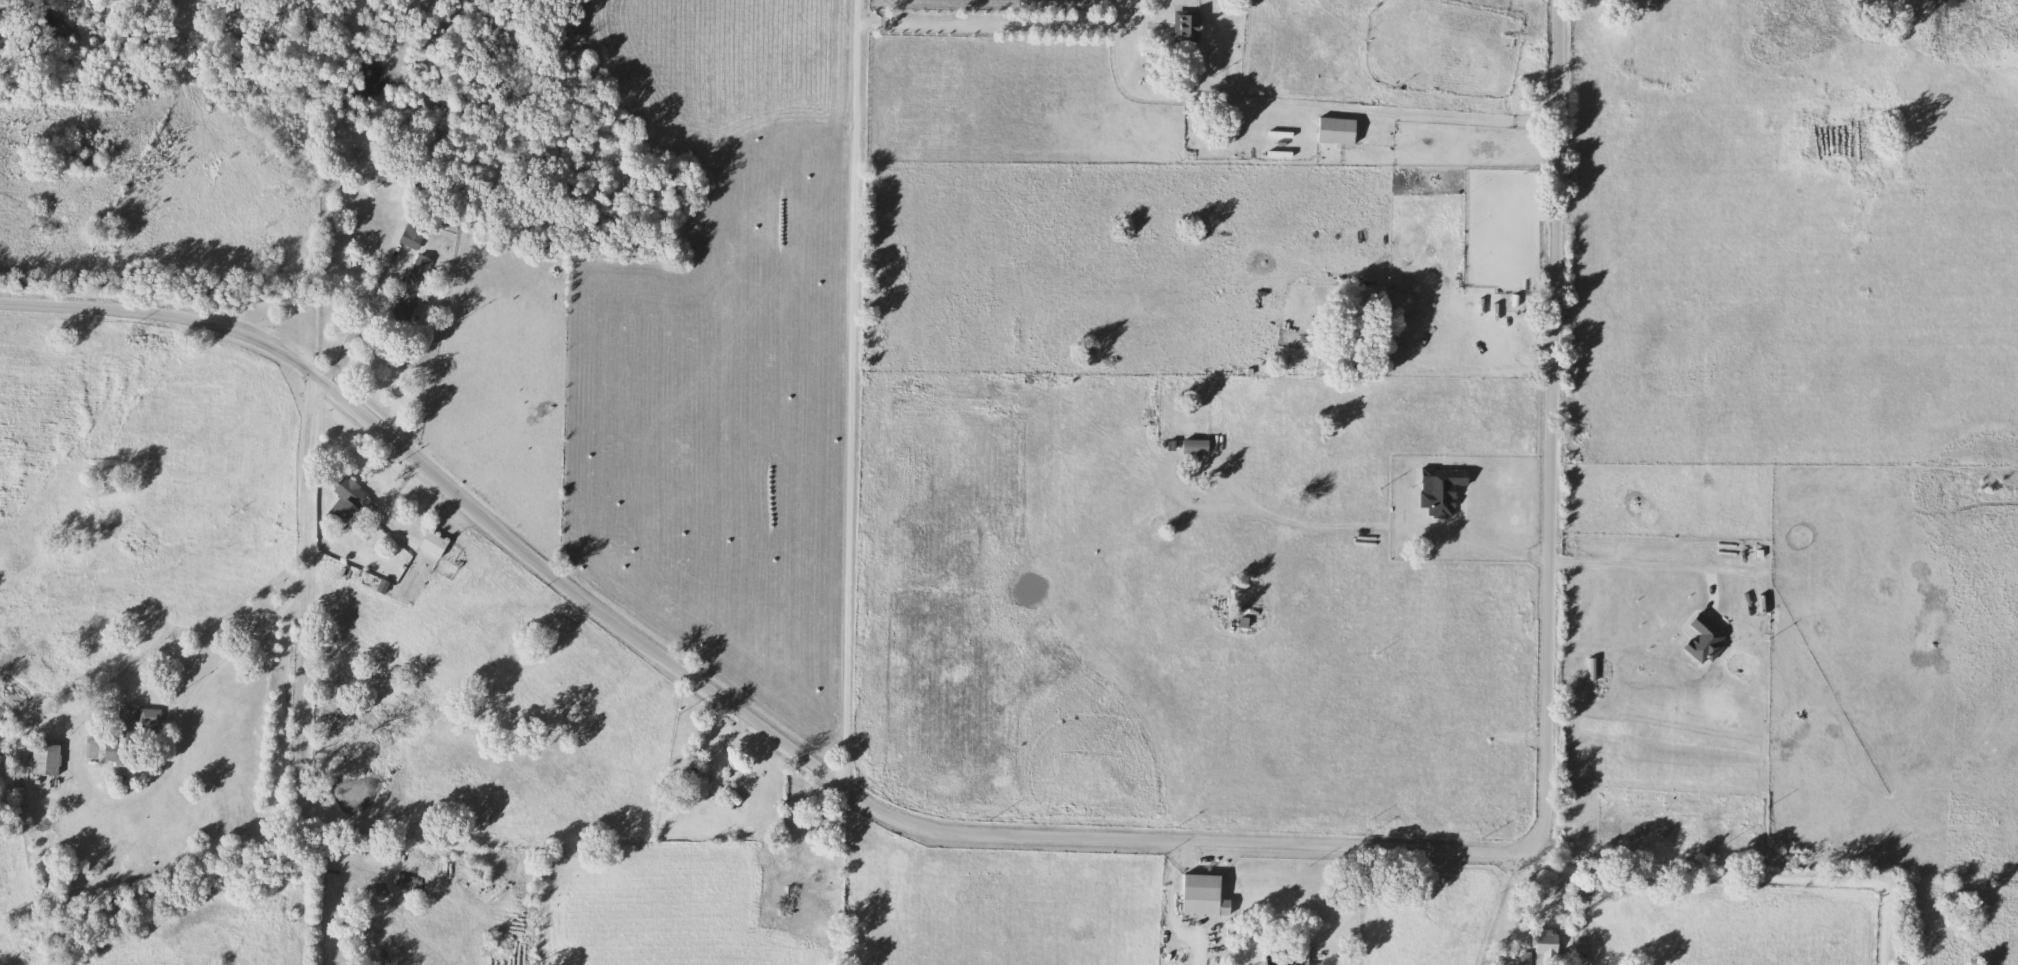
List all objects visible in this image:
road: (985, 23)
building: (1189, 28)
building: (1339, 131)
building: (416, 233)
building: (415, 287)
road: (1474, 369)
road: (855, 393)
building: (1199, 446)
building: (350, 502)
road: (392, 526)
road: (1494, 534)
building: (436, 544)
road: (1655, 556)
road: (306, 589)
building: (132, 735)
building: (47, 758)
road: (297, 784)
building: (700, 786)
road: (1111, 841)
building: (1207, 895)
building: (795, 897)
road: (1754, 899)
road: (1359, 900)
road: (1466, 911)
building: (1549, 949)
building: (1304, 955)

